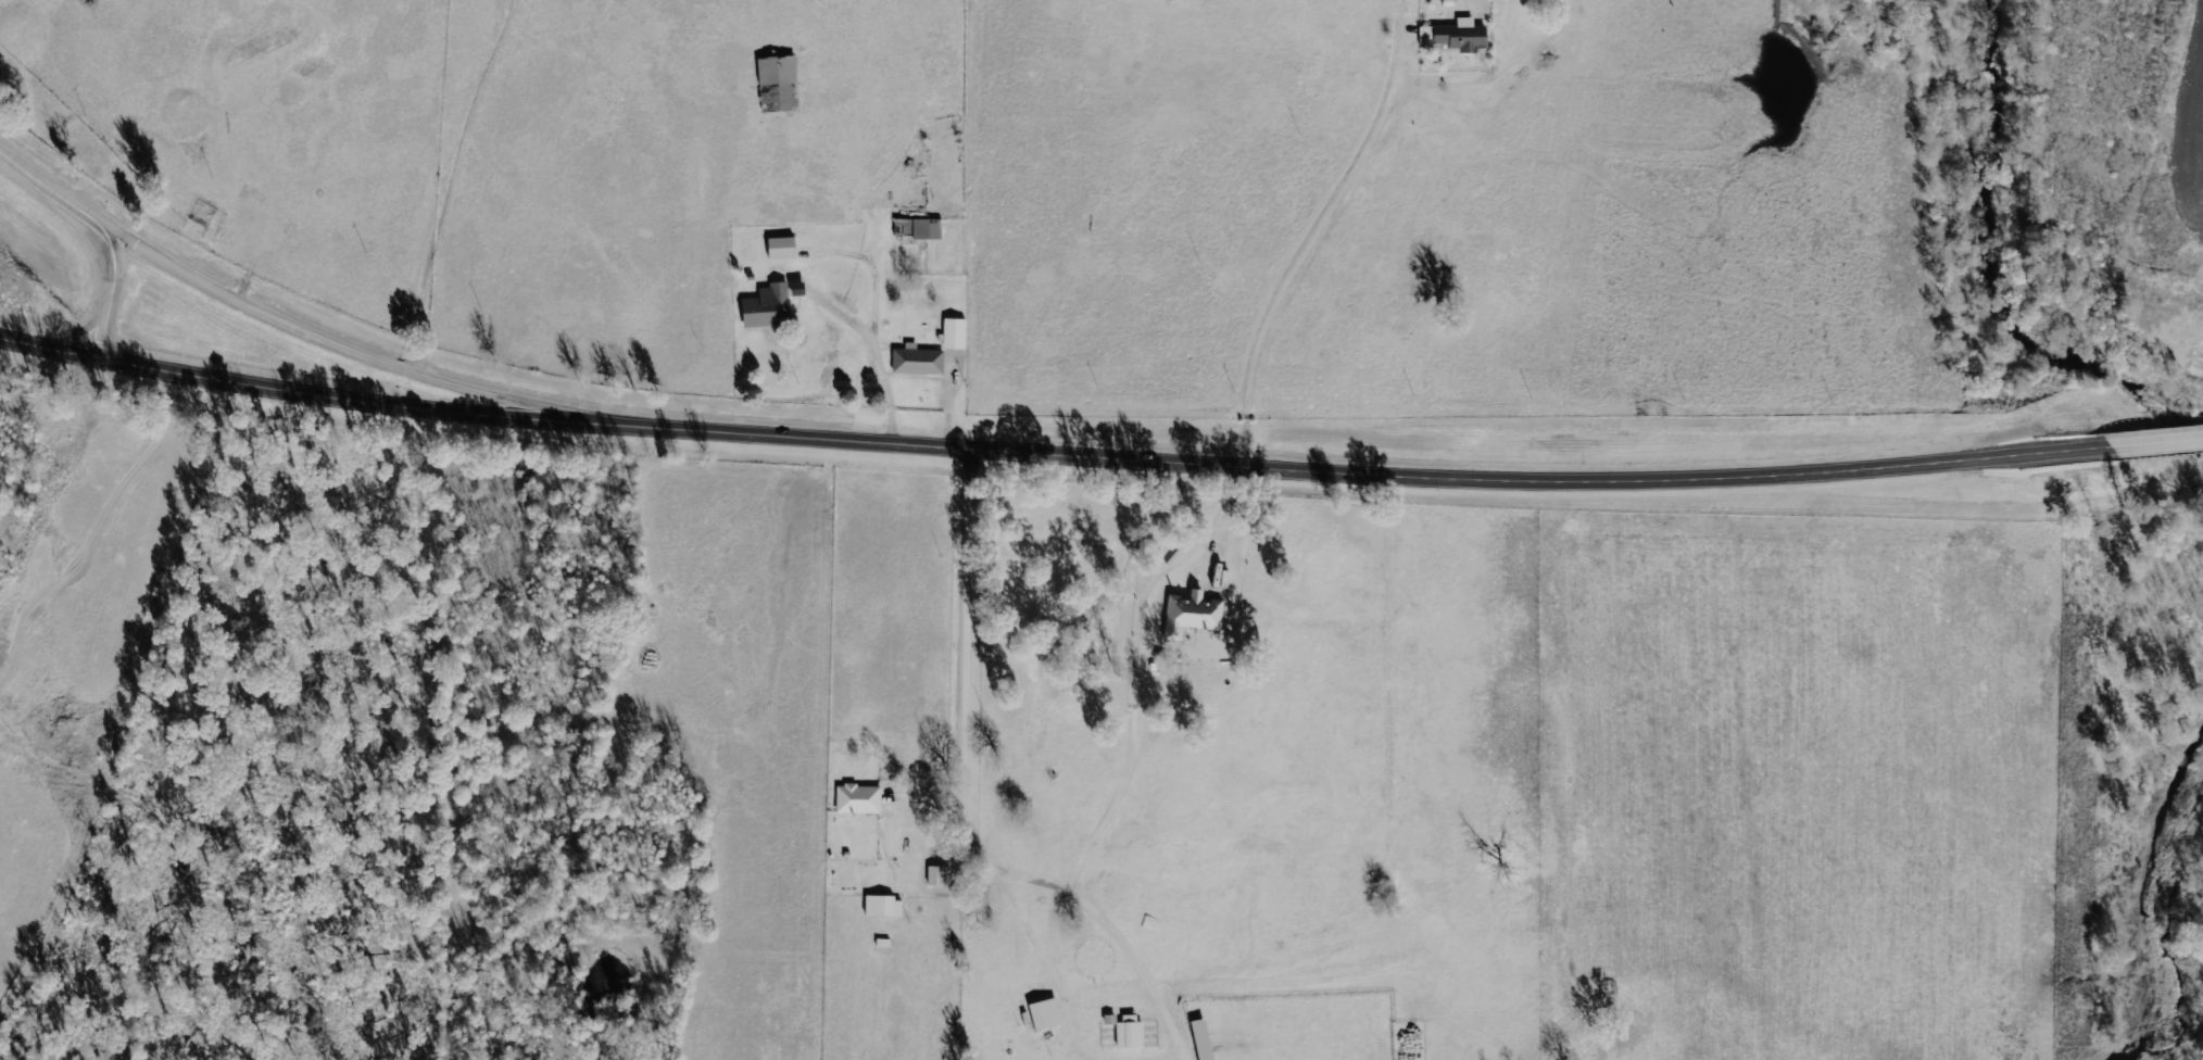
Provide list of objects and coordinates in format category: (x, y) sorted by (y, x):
building: (1458, 35)
road: (106, 227)
building: (921, 227)
building: (785, 247)
building: (772, 305)
building: (958, 332)
road: (48, 344)
road: (352, 345)
building: (921, 359)
road: (1147, 458)
building: (1194, 613)
road: (974, 653)
building: (861, 798)
building: (888, 942)
building: (1048, 1013)
building: (1134, 1031)
building: (1207, 1039)

